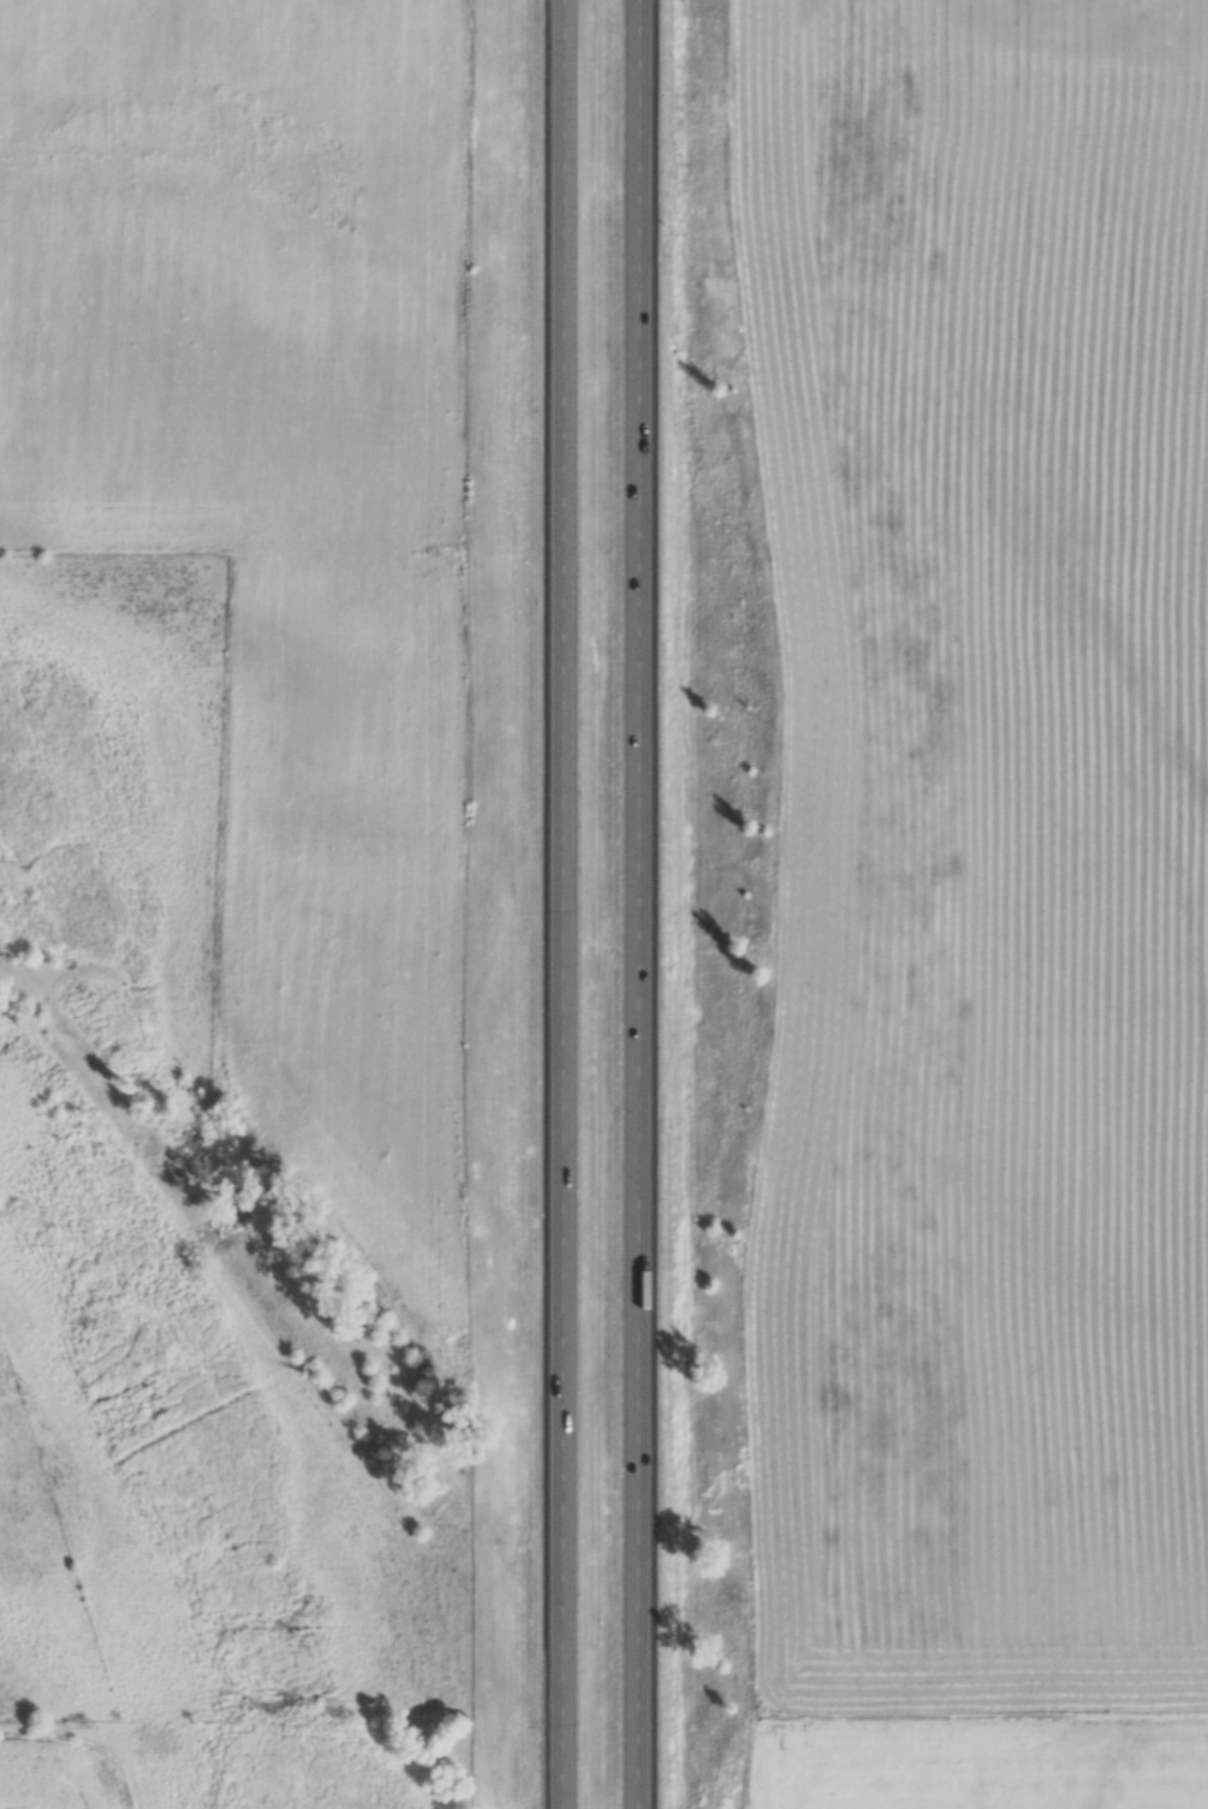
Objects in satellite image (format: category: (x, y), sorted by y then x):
road: (555, 904)
road: (635, 904)

